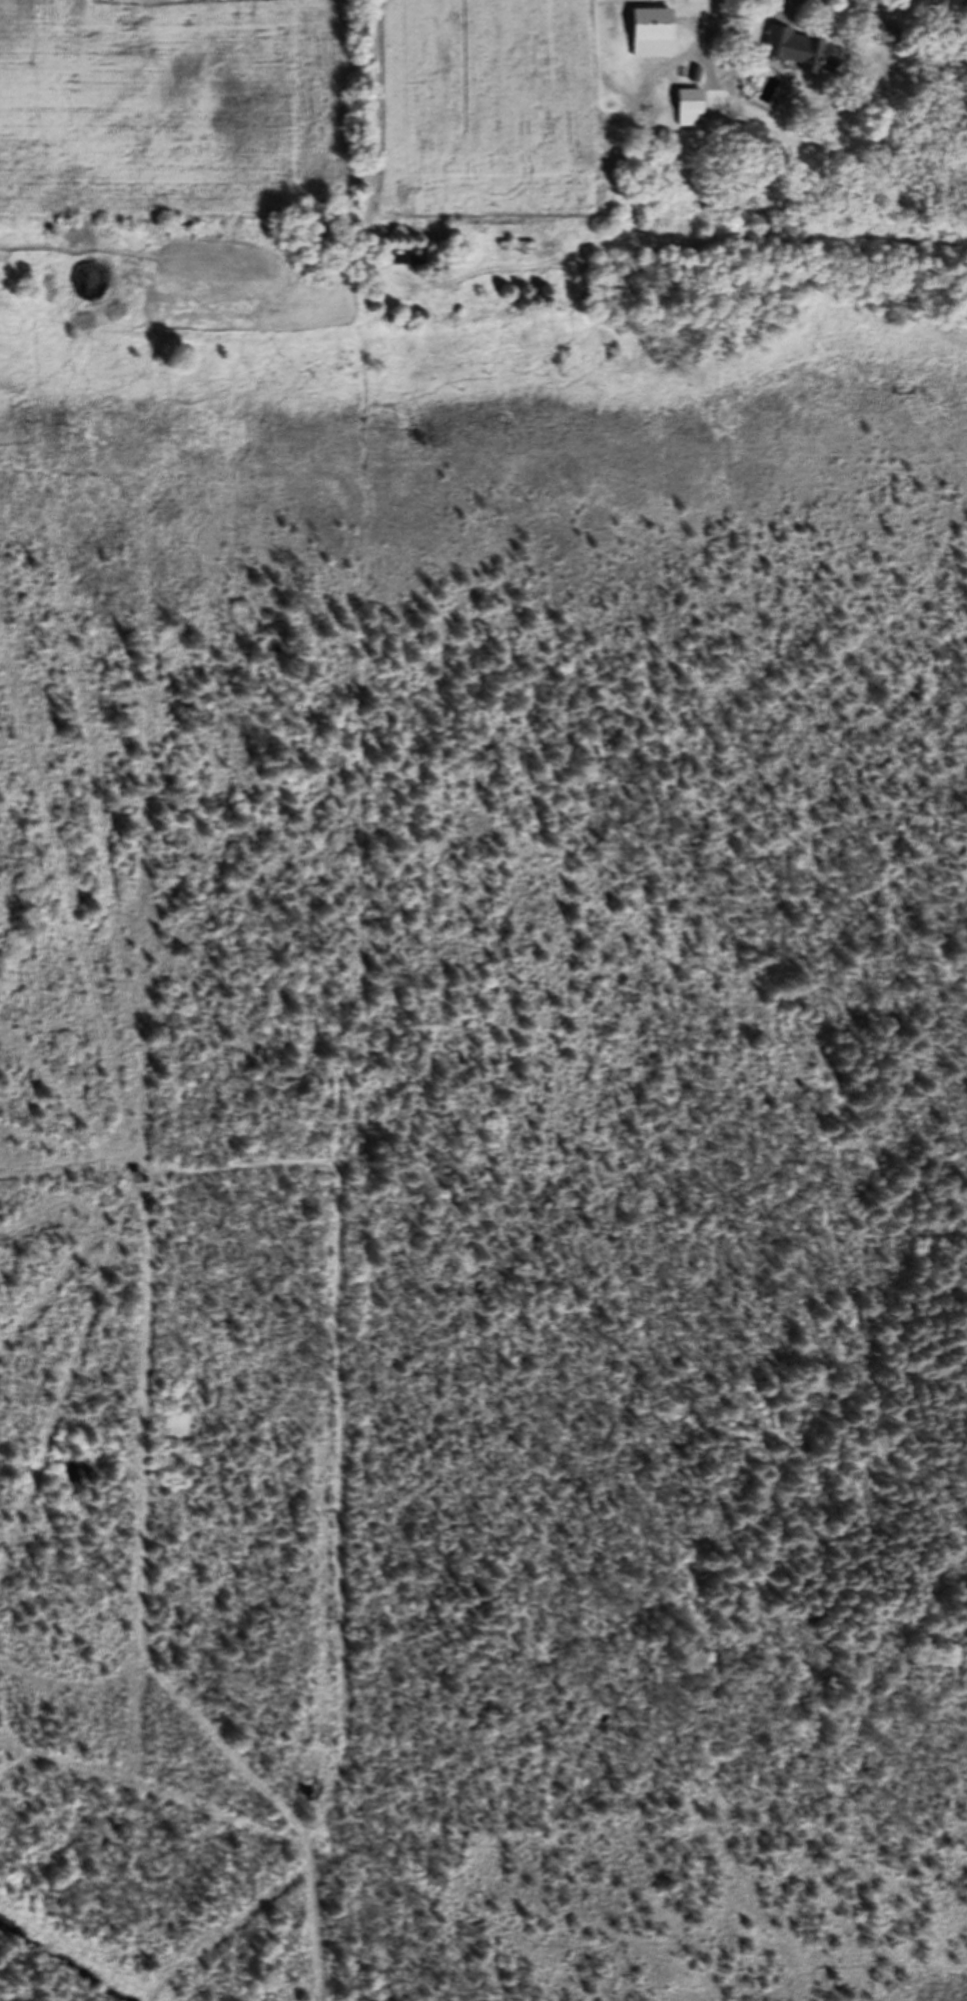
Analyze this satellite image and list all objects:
building: (648, 41)
building: (804, 62)
building: (685, 116)
building: (514, 254)

